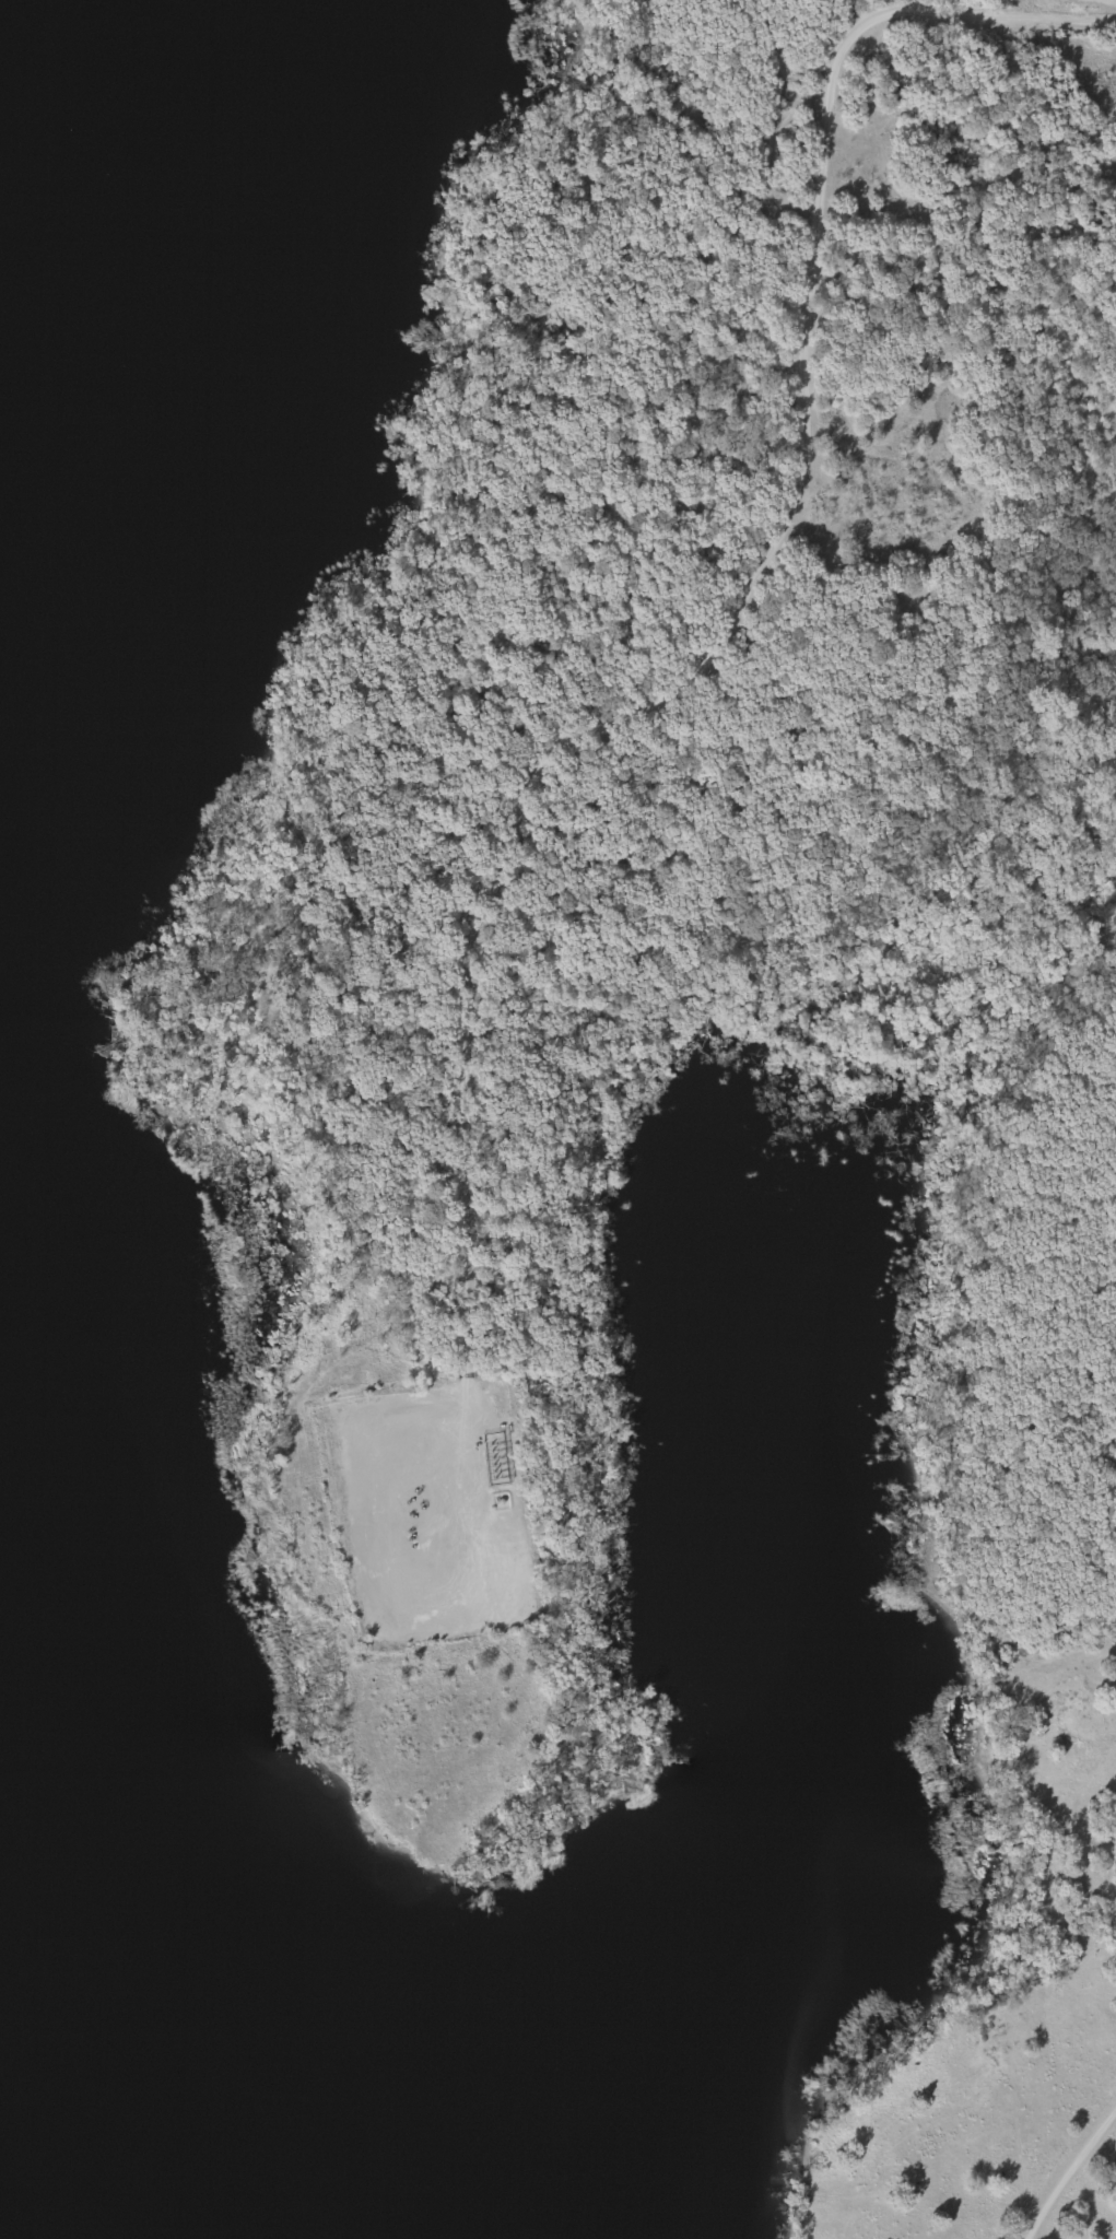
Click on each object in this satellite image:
road: (730, 613)
road: (439, 1477)
road: (1080, 1842)
road: (1068, 2172)

